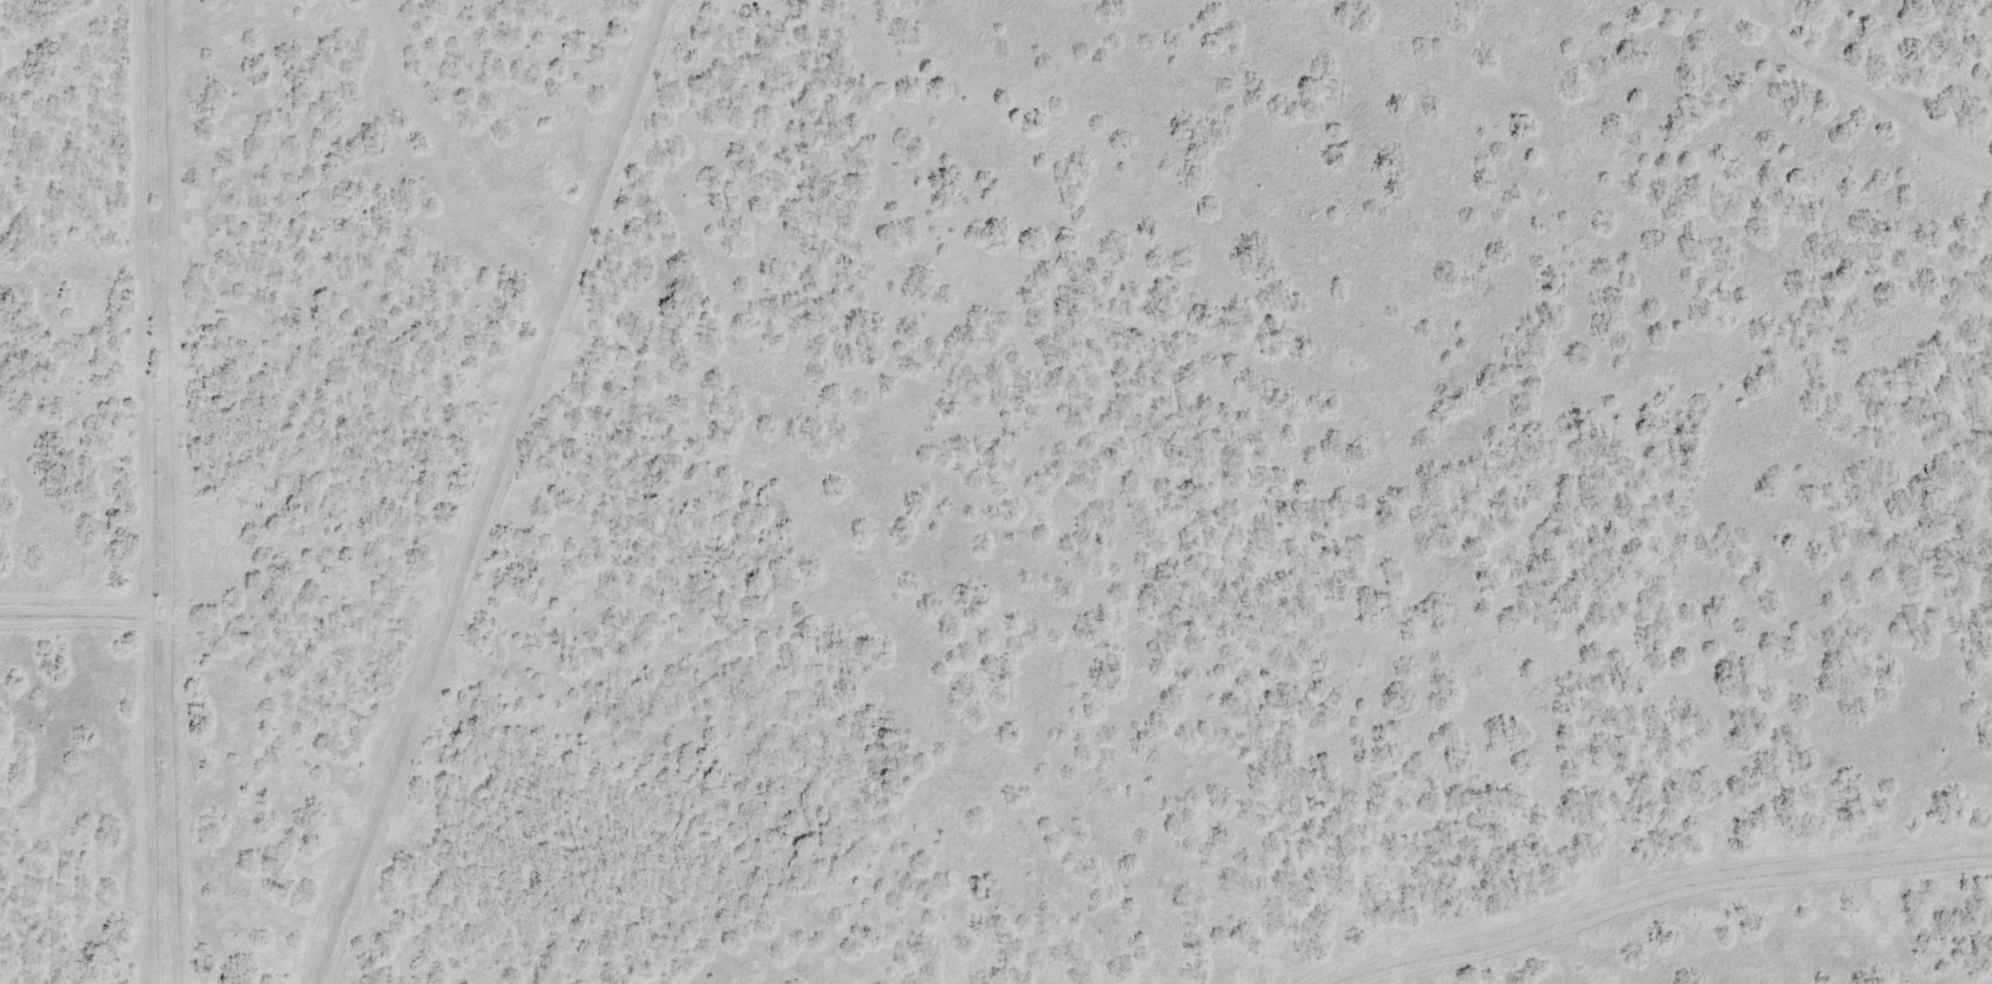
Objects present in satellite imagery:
road: (1706, 937)

